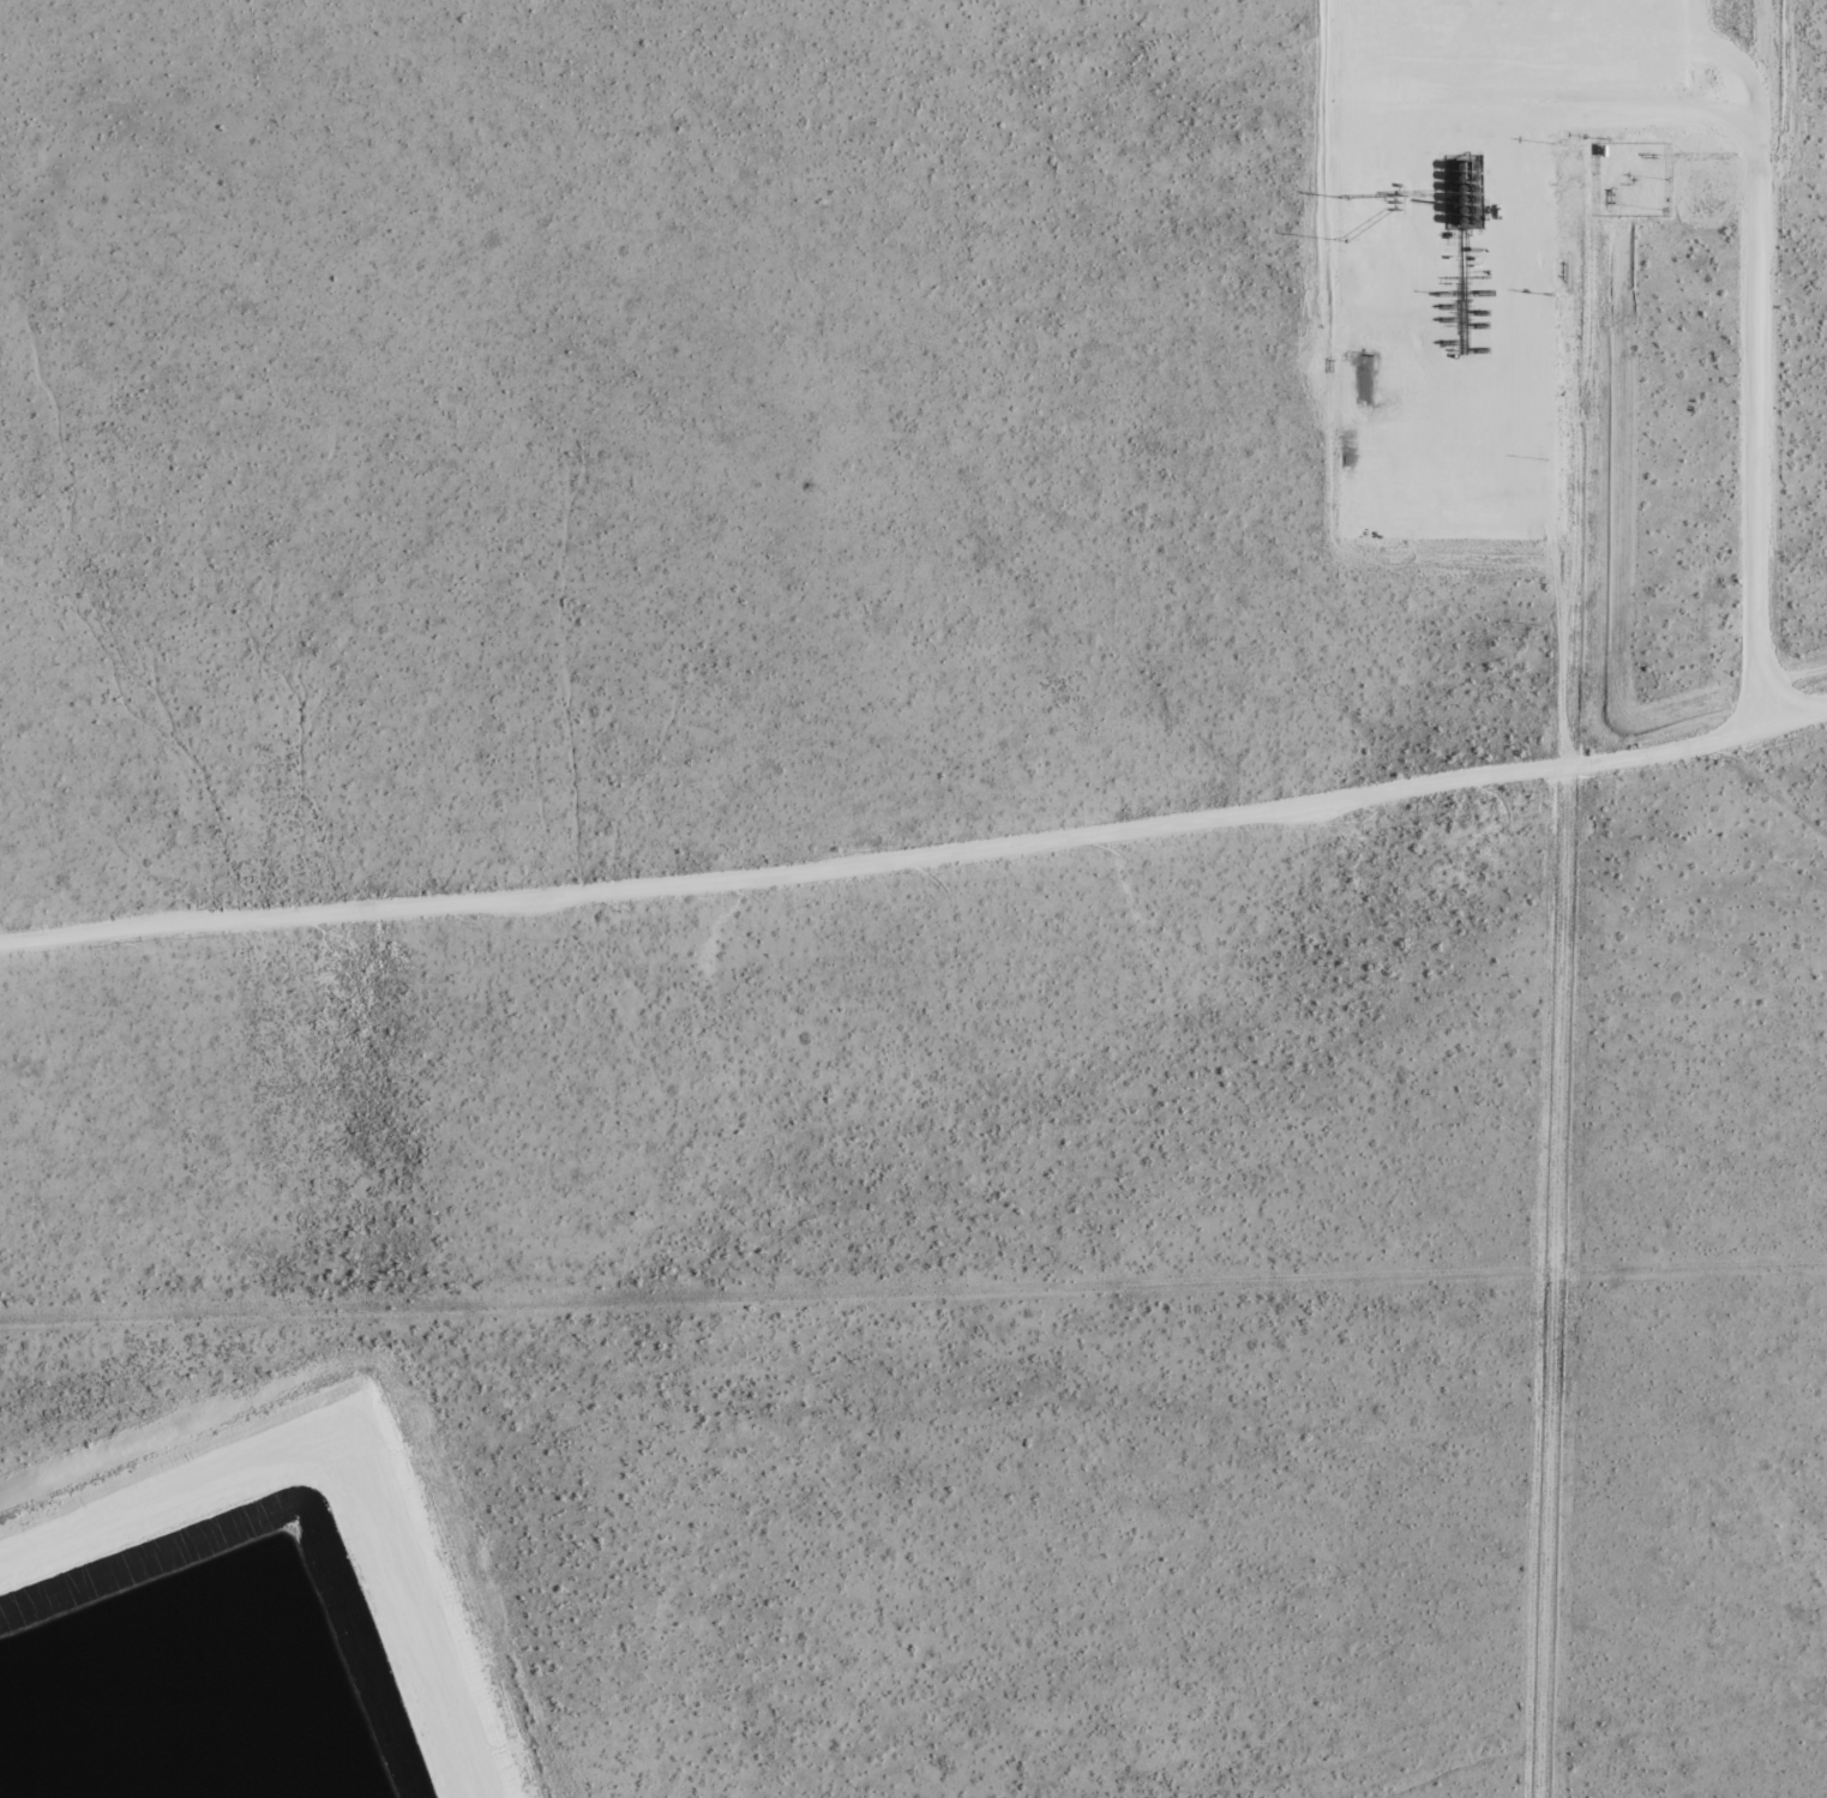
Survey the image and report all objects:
road: (1713, 32)
road: (1407, 285)
road: (1751, 395)
road: (918, 855)
road: (461, 1733)

